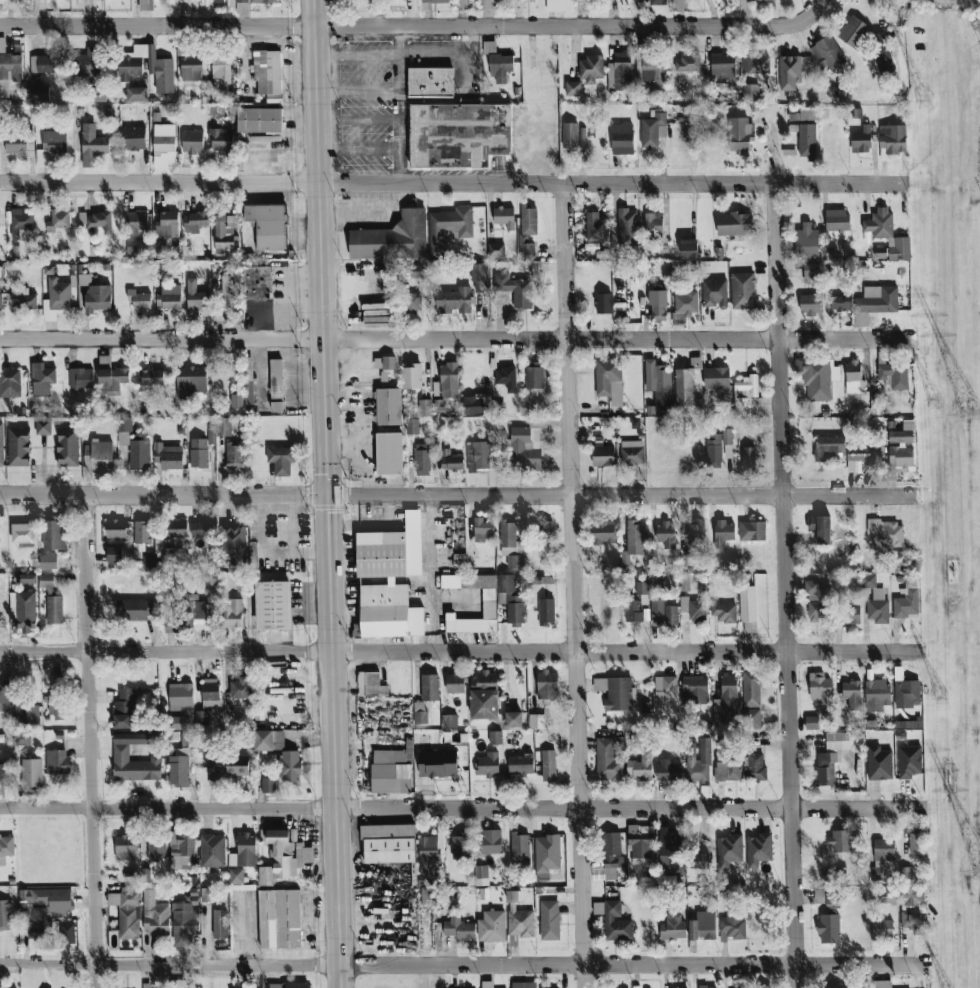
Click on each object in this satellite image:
building: (216, 0)
building: (751, 0)
building: (241, 1)
building: (264, 1)
building: (435, 1)
building: (661, 2)
building: (461, 3)
building: (146, 5)
road: (817, 6)
building: (241, 8)
road: (408, 26)
road: (409, 54)
building: (826, 57)
building: (85, 62)
building: (689, 63)
building: (44, 64)
building: (11, 66)
building: (160, 66)
building: (221, 66)
building: (725, 67)
building: (191, 68)
building: (592, 68)
building: (626, 71)
building: (267, 72)
building: (656, 72)
building: (430, 81)
road: (358, 90)
building: (38, 93)
building: (137, 94)
building: (274, 99)
road: (452, 100)
road: (398, 104)
power tower: (928, 105)
building: (810, 114)
building: (257, 119)
road: (358, 120)
building: (653, 129)
building: (449, 131)
building: (742, 135)
building: (134, 138)
building: (624, 138)
building: (221, 140)
building: (192, 141)
building: (810, 141)
building: (21, 142)
building: (863, 142)
building: (92, 145)
building: (163, 145)
building: (51, 146)
road: (359, 150)
road: (452, 183)
building: (506, 218)
building: (59, 219)
building: (841, 220)
building: (20, 222)
building: (99, 222)
building: (195, 222)
building: (168, 223)
building: (134, 224)
building: (736, 224)
building: (882, 224)
building: (269, 225)
building: (655, 225)
building: (449, 226)
building: (528, 230)
building: (628, 230)
building: (599, 232)
building: (226, 234)
building: (391, 239)
building: (809, 240)
building: (498, 250)
building: (418, 271)
building: (1, 273)
building: (84, 279)
building: (257, 282)
building: (516, 286)
building: (225, 290)
building: (715, 293)
building: (196, 296)
building: (169, 297)
building: (0, 298)
building: (23, 298)
building: (56, 298)
building: (97, 298)
building: (139, 299)
building: (454, 300)
building: (871, 300)
building: (374, 301)
building: (408, 302)
building: (601, 303)
building: (659, 303)
building: (687, 303)
building: (814, 304)
road: (457, 338)
building: (384, 362)
building: (608, 375)
building: (896, 375)
building: (149, 376)
building: (411, 377)
building: (536, 377)
building: (718, 377)
building: (81, 378)
building: (42, 379)
building: (507, 379)
building: (248, 380)
building: (449, 380)
building: (190, 381)
building: (10, 383)
building: (276, 385)
building: (748, 386)
power tower: (939, 399)
building: (236, 400)
building: (475, 404)
building: (388, 406)
building: (425, 407)
power tower: (971, 423)
building: (235, 424)
building: (43, 426)
building: (412, 426)
building: (219, 430)
building: (904, 434)
building: (523, 435)
building: (134, 444)
building: (1, 445)
building: (18, 446)
building: (67, 446)
building: (719, 448)
building: (198, 452)
building: (858, 452)
building: (388, 453)
building: (620, 454)
building: (234, 455)
building: (98, 456)
building: (168, 456)
building: (479, 456)
building: (902, 458)
building: (281, 459)
building: (422, 459)
building: (452, 461)
road: (328, 493)
road: (456, 495)
building: (116, 528)
building: (177, 528)
building: (203, 529)
building: (142, 531)
building: (723, 531)
building: (751, 531)
building: (497, 532)
building: (22, 533)
building: (54, 533)
building: (606, 533)
building: (636, 537)
building: (668, 538)
building: (233, 544)
building: (114, 554)
road: (783, 559)
building: (48, 561)
building: (152, 561)
building: (516, 561)
building: (26, 578)
building: (390, 579)
building: (47, 582)
building: (242, 584)
road: (572, 585)
building: (491, 600)
building: (515, 603)
building: (906, 604)
building: (273, 605)
building: (638, 605)
building: (749, 605)
building: (138, 608)
building: (54, 609)
building: (25, 611)
building: (665, 611)
building: (879, 611)
building: (698, 612)
building: (724, 612)
building: (234, 614)
building: (657, 618)
building: (545, 620)
road: (460, 652)
building: (57, 682)
building: (455, 683)
building: (370, 684)
building: (821, 686)
building: (429, 687)
building: (240, 688)
building: (666, 688)
building: (730, 689)
building: (696, 690)
building: (210, 692)
building: (617, 692)
building: (869, 692)
building: (907, 694)
building: (487, 695)
building: (4, 696)
power tower: (944, 696)
building: (180, 697)
building: (56, 706)
building: (124, 708)
building: (26, 715)
building: (420, 717)
building: (201, 718)
building: (516, 720)
building: (449, 721)
building: (537, 721)
building: (181, 722)
building: (496, 737)
building: (21, 739)
building: (269, 740)
road: (89, 741)
building: (120, 757)
building: (609, 759)
building: (57, 762)
building: (881, 763)
building: (910, 763)
building: (438, 764)
building: (534, 764)
building: (488, 765)
building: (290, 766)
building: (226, 767)
building: (179, 768)
building: (668, 768)
building: (827, 769)
building: (736, 770)
building: (4, 772)
building: (390, 772)
building: (31, 773)
building: (268, 785)
road: (462, 808)
building: (494, 841)
building: (641, 841)
building: (842, 841)
building: (388, 843)
building: (460, 846)
building: (6, 847)
building: (125, 847)
building: (157, 848)
building: (760, 849)
building: (183, 850)
building: (212, 850)
building: (244, 851)
building: (521, 851)
building: (730, 851)
building: (548, 854)
building: (614, 856)
building: (428, 857)
building: (882, 857)
building: (672, 861)
building: (146, 875)
building: (482, 875)
building: (266, 876)
building: (236, 877)
power tower: (979, 877)
building: (427, 893)
building: (207, 894)
building: (599, 908)
building: (43, 909)
building: (5, 915)
building: (129, 915)
building: (155, 916)
building: (280, 919)
building: (186, 920)
building: (551, 920)
building: (522, 923)
building: (617, 923)
building: (673, 923)
building: (220, 924)
building: (729, 925)
building: (698, 926)
building: (459, 927)
building: (494, 927)
building: (824, 927)
building: (877, 928)
road: (246, 930)
building: (67, 934)
road: (6, 963)
road: (469, 965)
building: (178, 983)
building: (483, 984)
building: (520, 984)
building: (845, 987)

